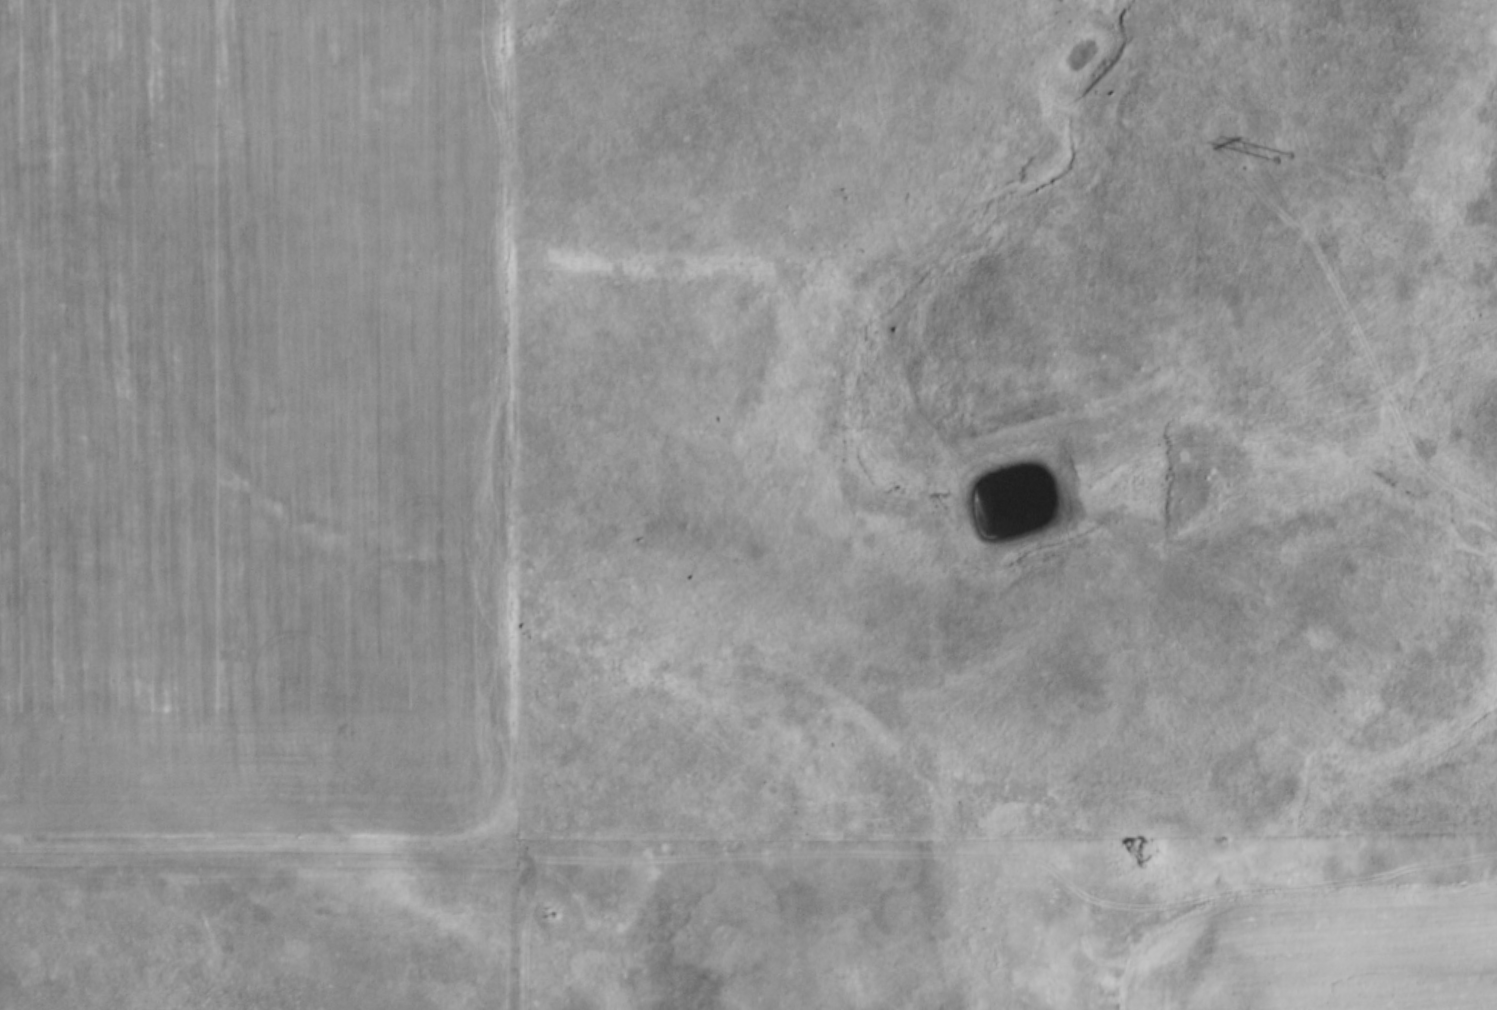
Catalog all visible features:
power tower: (1262, 160)

